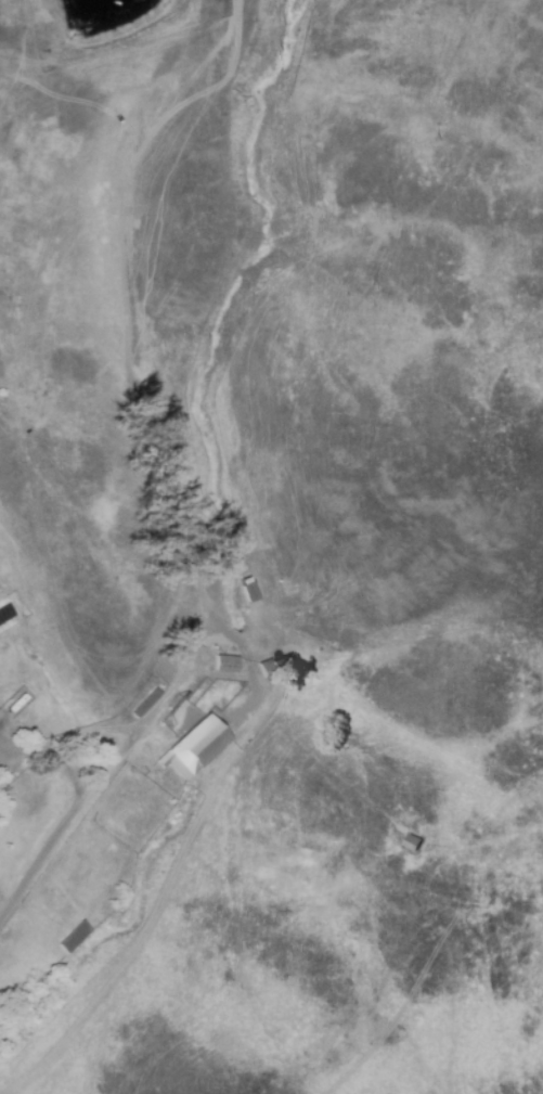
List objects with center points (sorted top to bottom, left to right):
building: (249, 593)
building: (227, 665)
building: (276, 668)
building: (145, 704)
building: (195, 748)
road: (77, 811)
building: (412, 842)
building: (75, 937)

